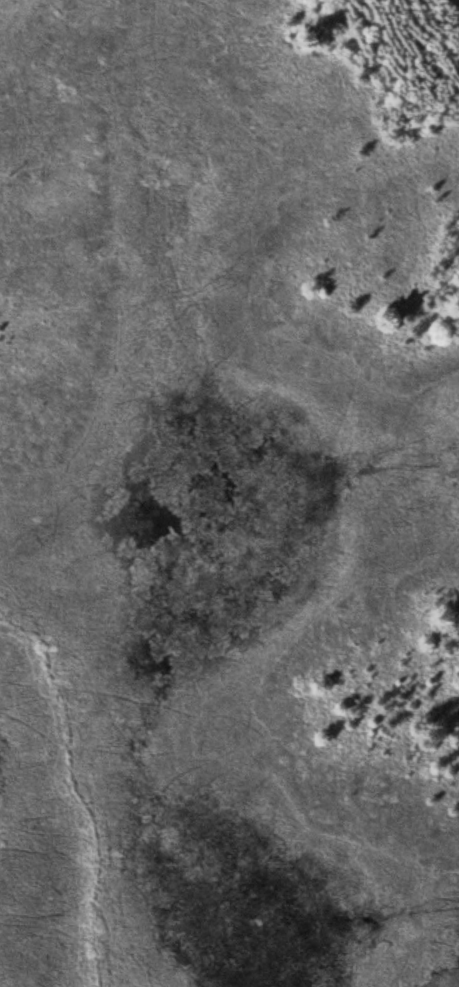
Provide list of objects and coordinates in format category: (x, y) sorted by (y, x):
road: (457, 0)

